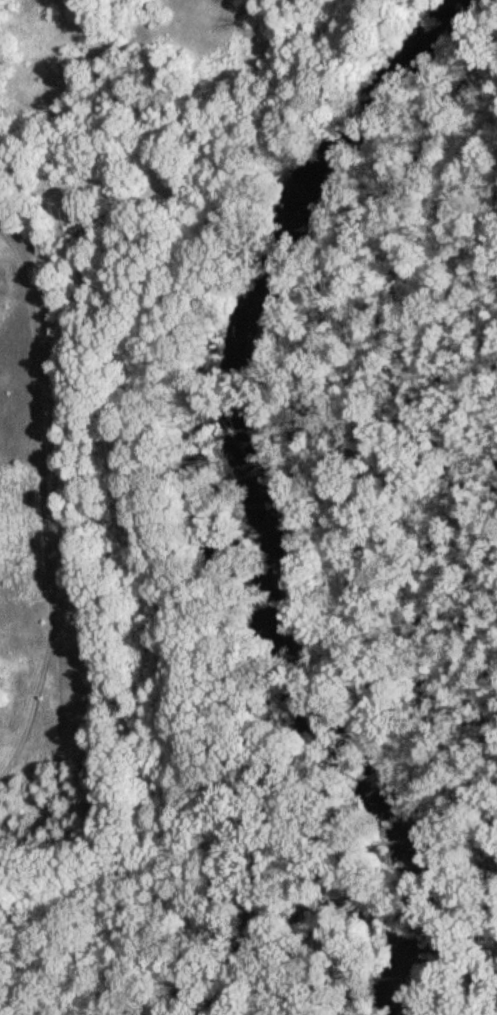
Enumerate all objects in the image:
road: (80, 195)
river: (240, 487)

